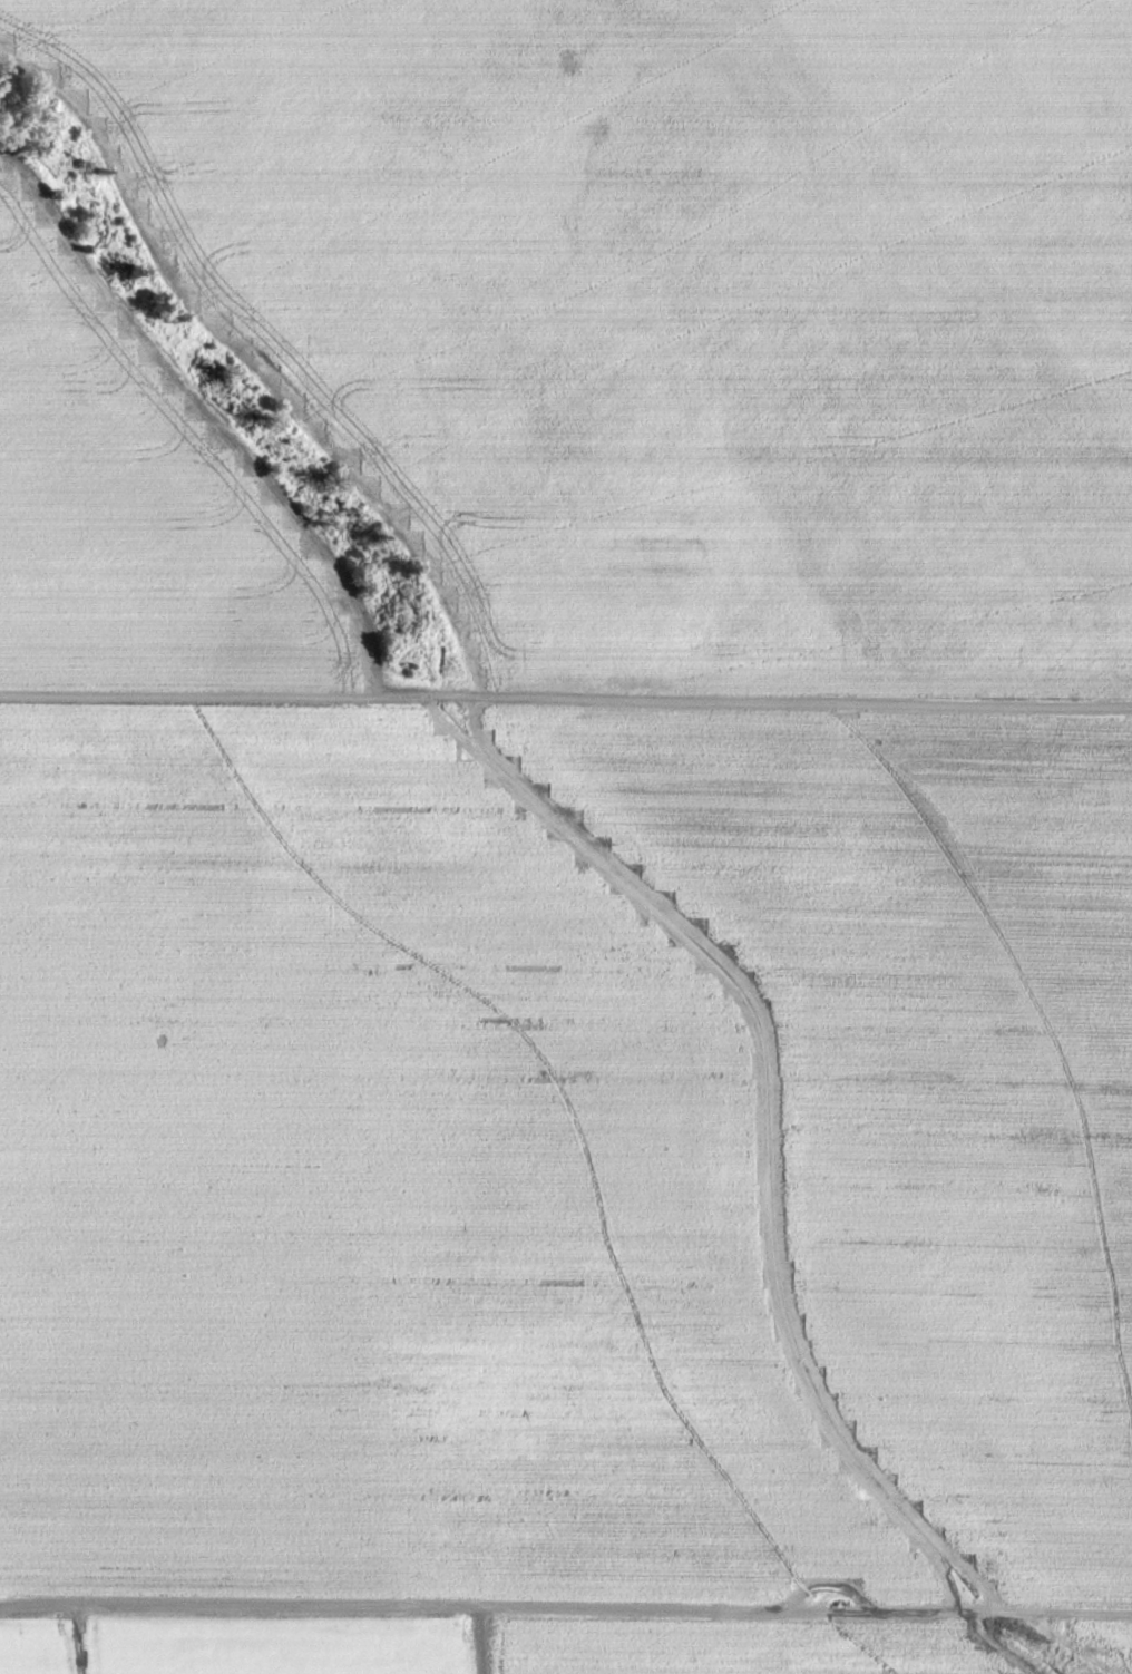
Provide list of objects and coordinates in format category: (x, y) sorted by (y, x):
road: (566, 690)
road: (565, 1607)
road: (468, 1639)
road: (78, 1641)

